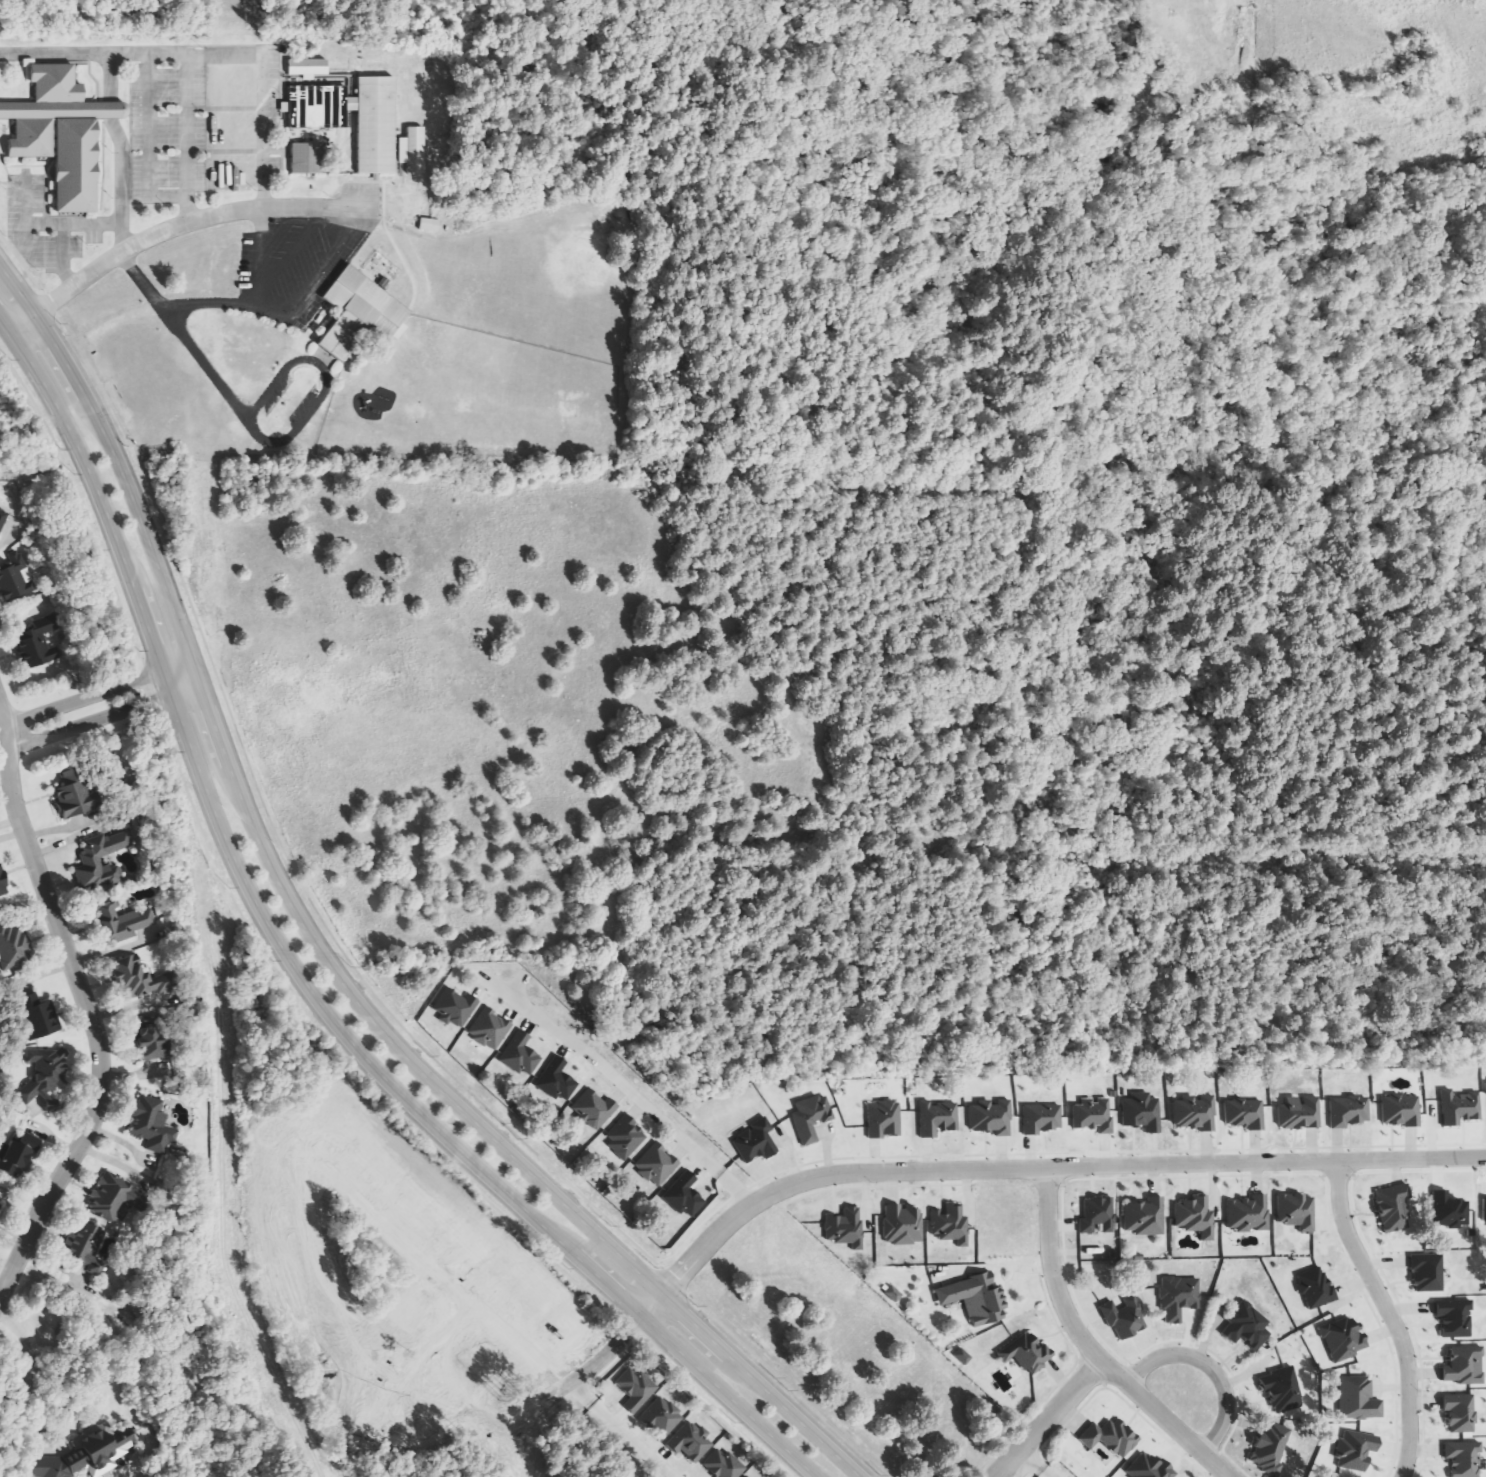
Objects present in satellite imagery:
road: (78, 55)
building: (305, 67)
road: (344, 80)
road: (260, 93)
road: (182, 102)
building: (311, 106)
road: (221, 108)
road: (203, 109)
building: (101, 110)
road: (110, 110)
building: (14, 111)
road: (236, 112)
building: (371, 126)
building: (56, 136)
road: (148, 142)
road: (402, 150)
building: (413, 150)
road: (343, 157)
building: (304, 158)
road: (403, 170)
road: (399, 173)
road: (2, 179)
road: (120, 184)
road: (186, 222)
road: (47, 223)
road: (274, 231)
road: (25, 240)
road: (362, 242)
road: (293, 244)
road: (63, 255)
road: (253, 258)
parking lot: (293, 264)
road: (142, 283)
road: (287, 311)
building: (354, 315)
road: (17, 322)
road: (377, 342)
road: (205, 366)
road: (324, 383)
park: (519, 399)
traffic signals: (118, 473)
building: (3, 519)
building: (14, 577)
building: (37, 644)
road: (178, 682)
road: (79, 700)
road: (85, 723)
road: (0, 733)
building: (75, 795)
road: (258, 803)
building: (101, 861)
building: (3, 882)
building: (120, 923)
building: (13, 949)
road: (314, 952)
road: (297, 976)
building: (140, 980)
building: (456, 1007)
building: (39, 1017)
road: (87, 1018)
building: (490, 1029)
building: (153, 1037)
building: (519, 1056)
building: (46, 1077)
building: (558, 1079)
road: (621, 1084)
building: (1460, 1107)
building: (593, 1109)
building: (1401, 1110)
building: (1349, 1111)
building: (1142, 1112)
building: (1300, 1112)
building: (1196, 1113)
building: (1245, 1113)
building: (1093, 1114)
building: (811, 1117)
building: (991, 1117)
building: (938, 1118)
building: (1041, 1118)
building: (884, 1119)
building: (152, 1125)
building: (626, 1138)
building: (755, 1142)
building: (19, 1155)
building: (657, 1164)
road: (977, 1170)
building: (685, 1195)
building: (108, 1196)
building: (0, 1205)
building: (1393, 1209)
building: (1449, 1210)
building: (1297, 1211)
building: (1249, 1214)
building: (1097, 1215)
building: (1145, 1217)
building: (1195, 1217)
building: (903, 1224)
building: (951, 1225)
building: (845, 1227)
building: (86, 1247)
building: (1427, 1272)
road: (670, 1282)
building: (1316, 1288)
building: (893, 1294)
building: (1179, 1297)
building: (976, 1299)
road: (1386, 1315)
building: (1125, 1317)
building: (1455, 1318)
building: (1247, 1326)
building: (1344, 1339)
road: (1085, 1347)
building: (1027, 1352)
building: (963, 1356)
building: (1464, 1366)
road: (1205, 1368)
road: (782, 1385)
building: (636, 1389)
building: (1281, 1389)
building: (1358, 1399)
building: (1460, 1413)
building: (662, 1417)
road: (1047, 1419)
building: (1111, 1437)
building: (690, 1442)
building: (1270, 1447)
building: (1356, 1450)
building: (1463, 1458)
building: (724, 1464)
road: (1030, 1465)
building: (1148, 1467)
building: (750, 1476)

